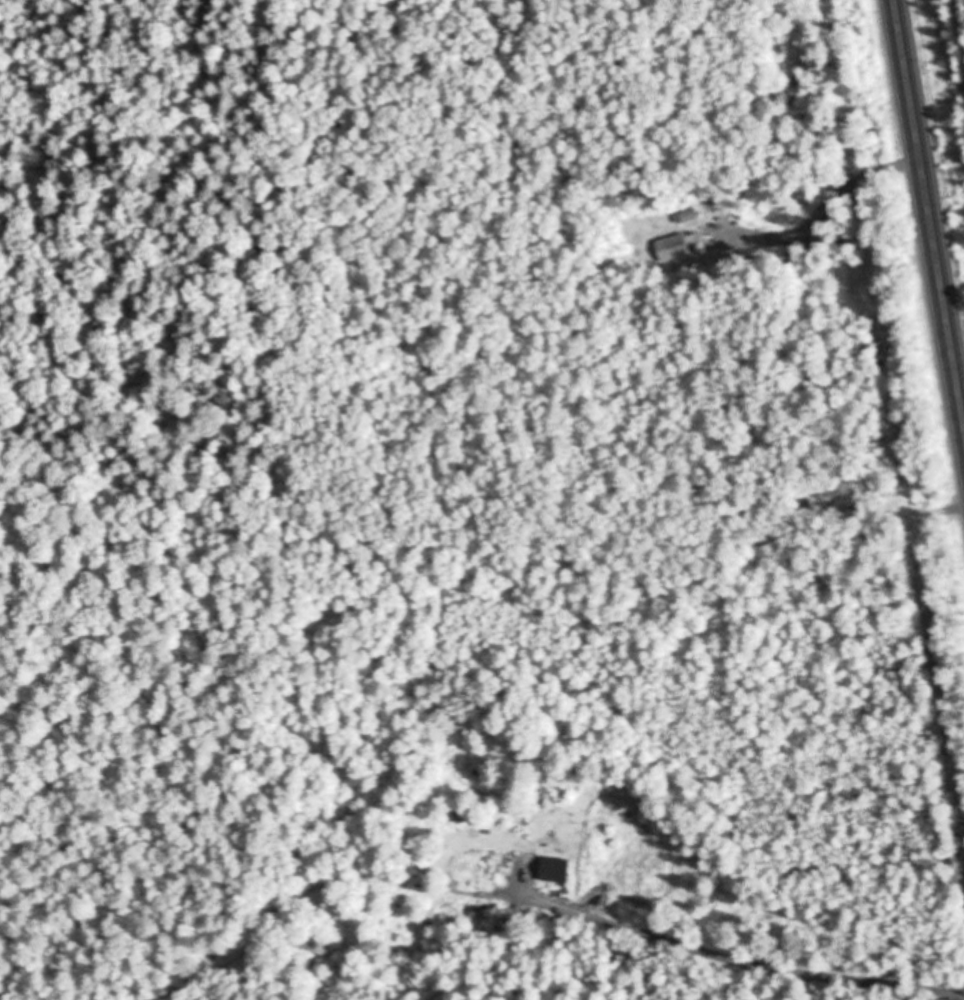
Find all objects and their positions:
road: (929, 209)
building: (555, 872)
building: (504, 920)
road: (722, 956)

